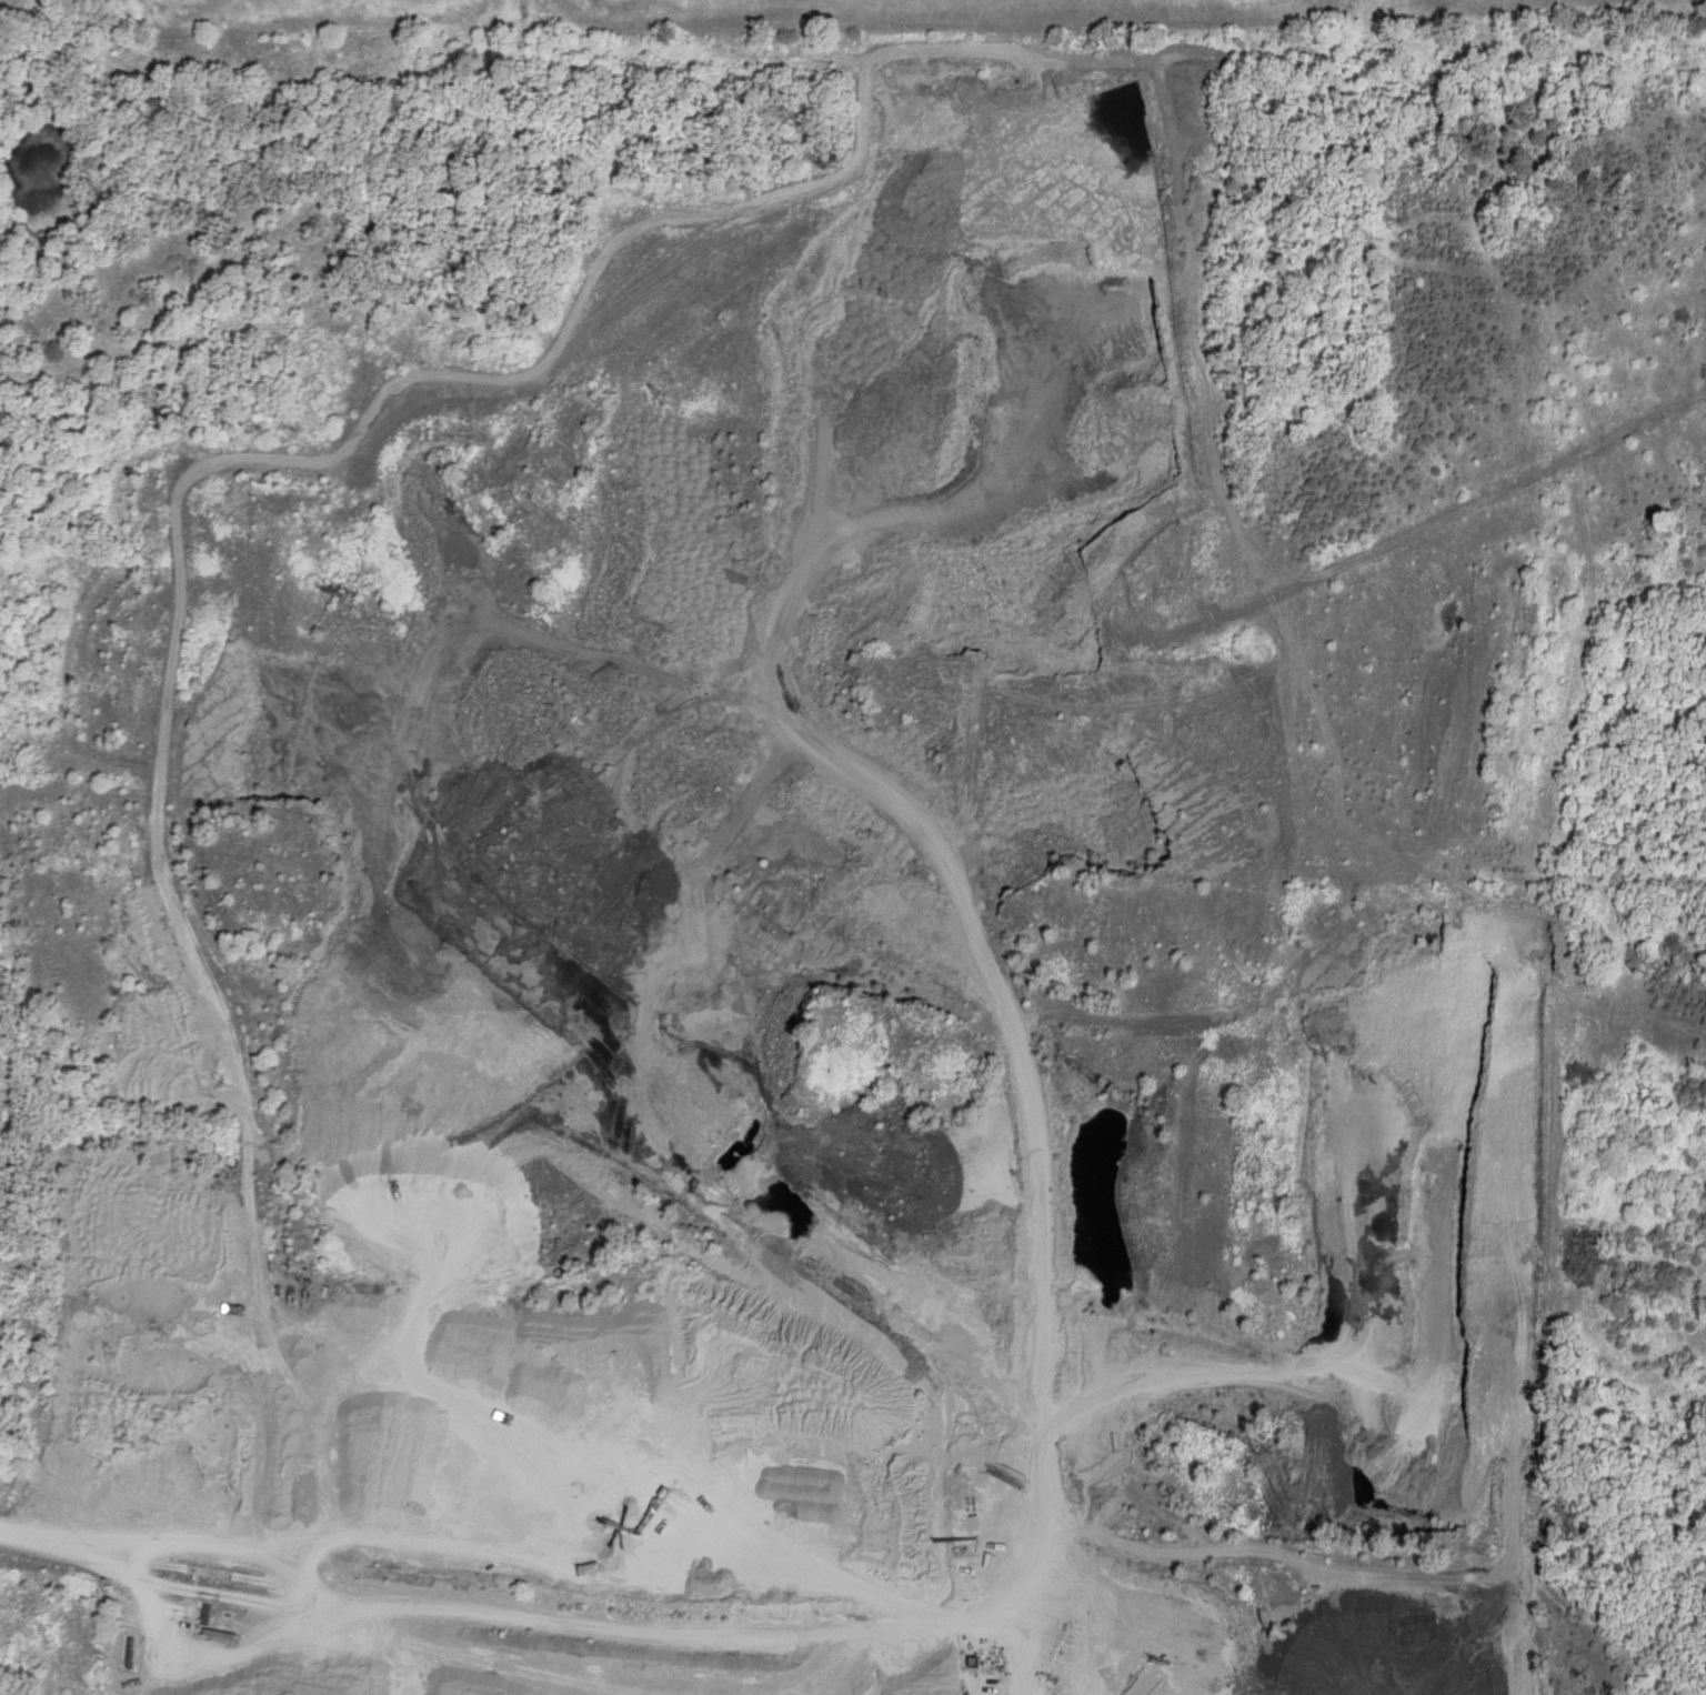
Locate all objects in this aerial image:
road: (449, 1545)

